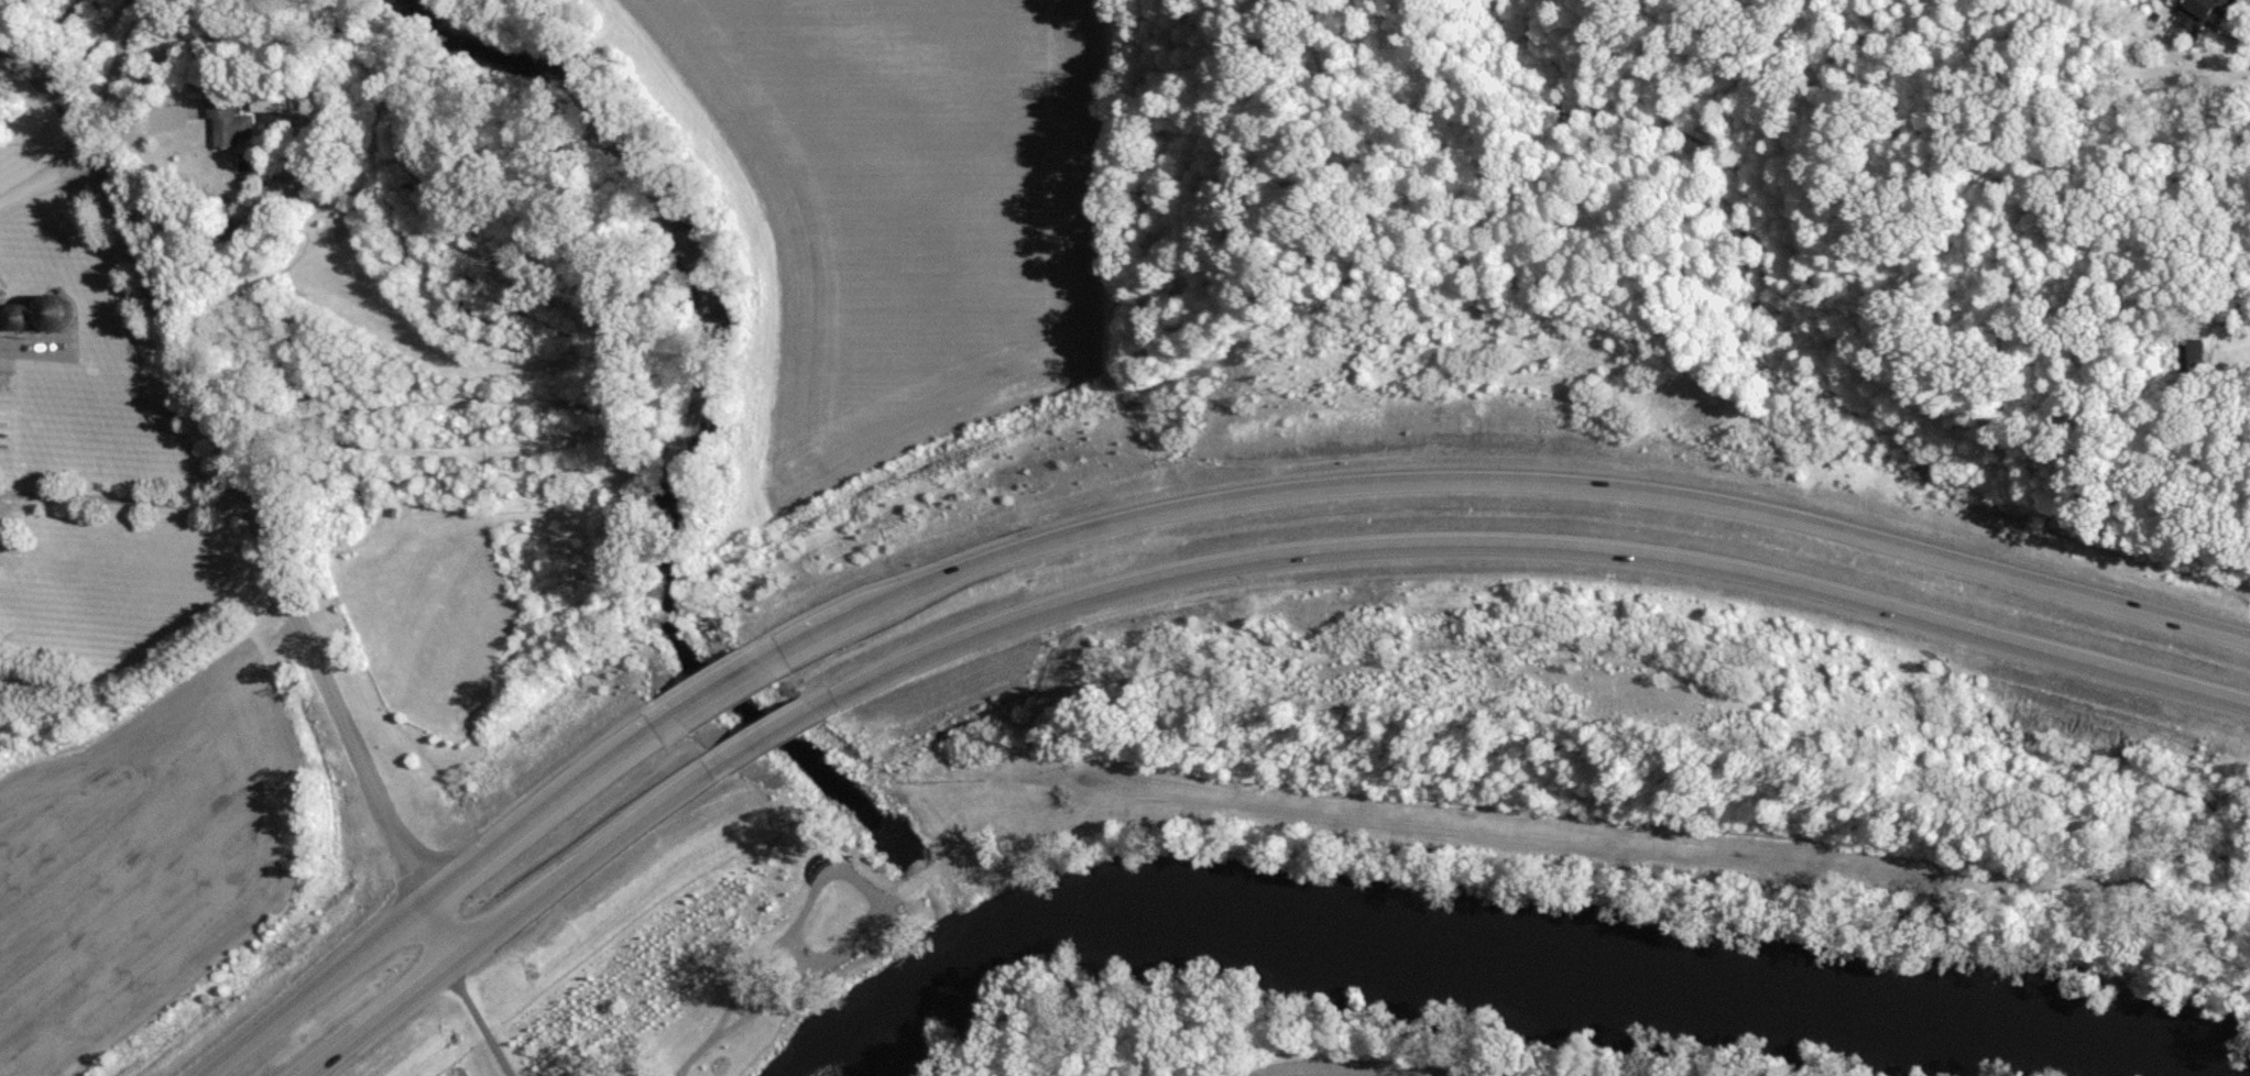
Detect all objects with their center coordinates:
building: (306, 88)
building: (266, 89)
building: (228, 107)
road: (44, 176)
silo: (50, 293)
silo: (15, 300)
building: (65, 310)
building: (24, 314)
building: (2196, 354)
road: (227, 463)
road: (121, 498)
road: (1154, 512)
road: (1211, 566)
road: (444, 925)
river: (1456, 945)

